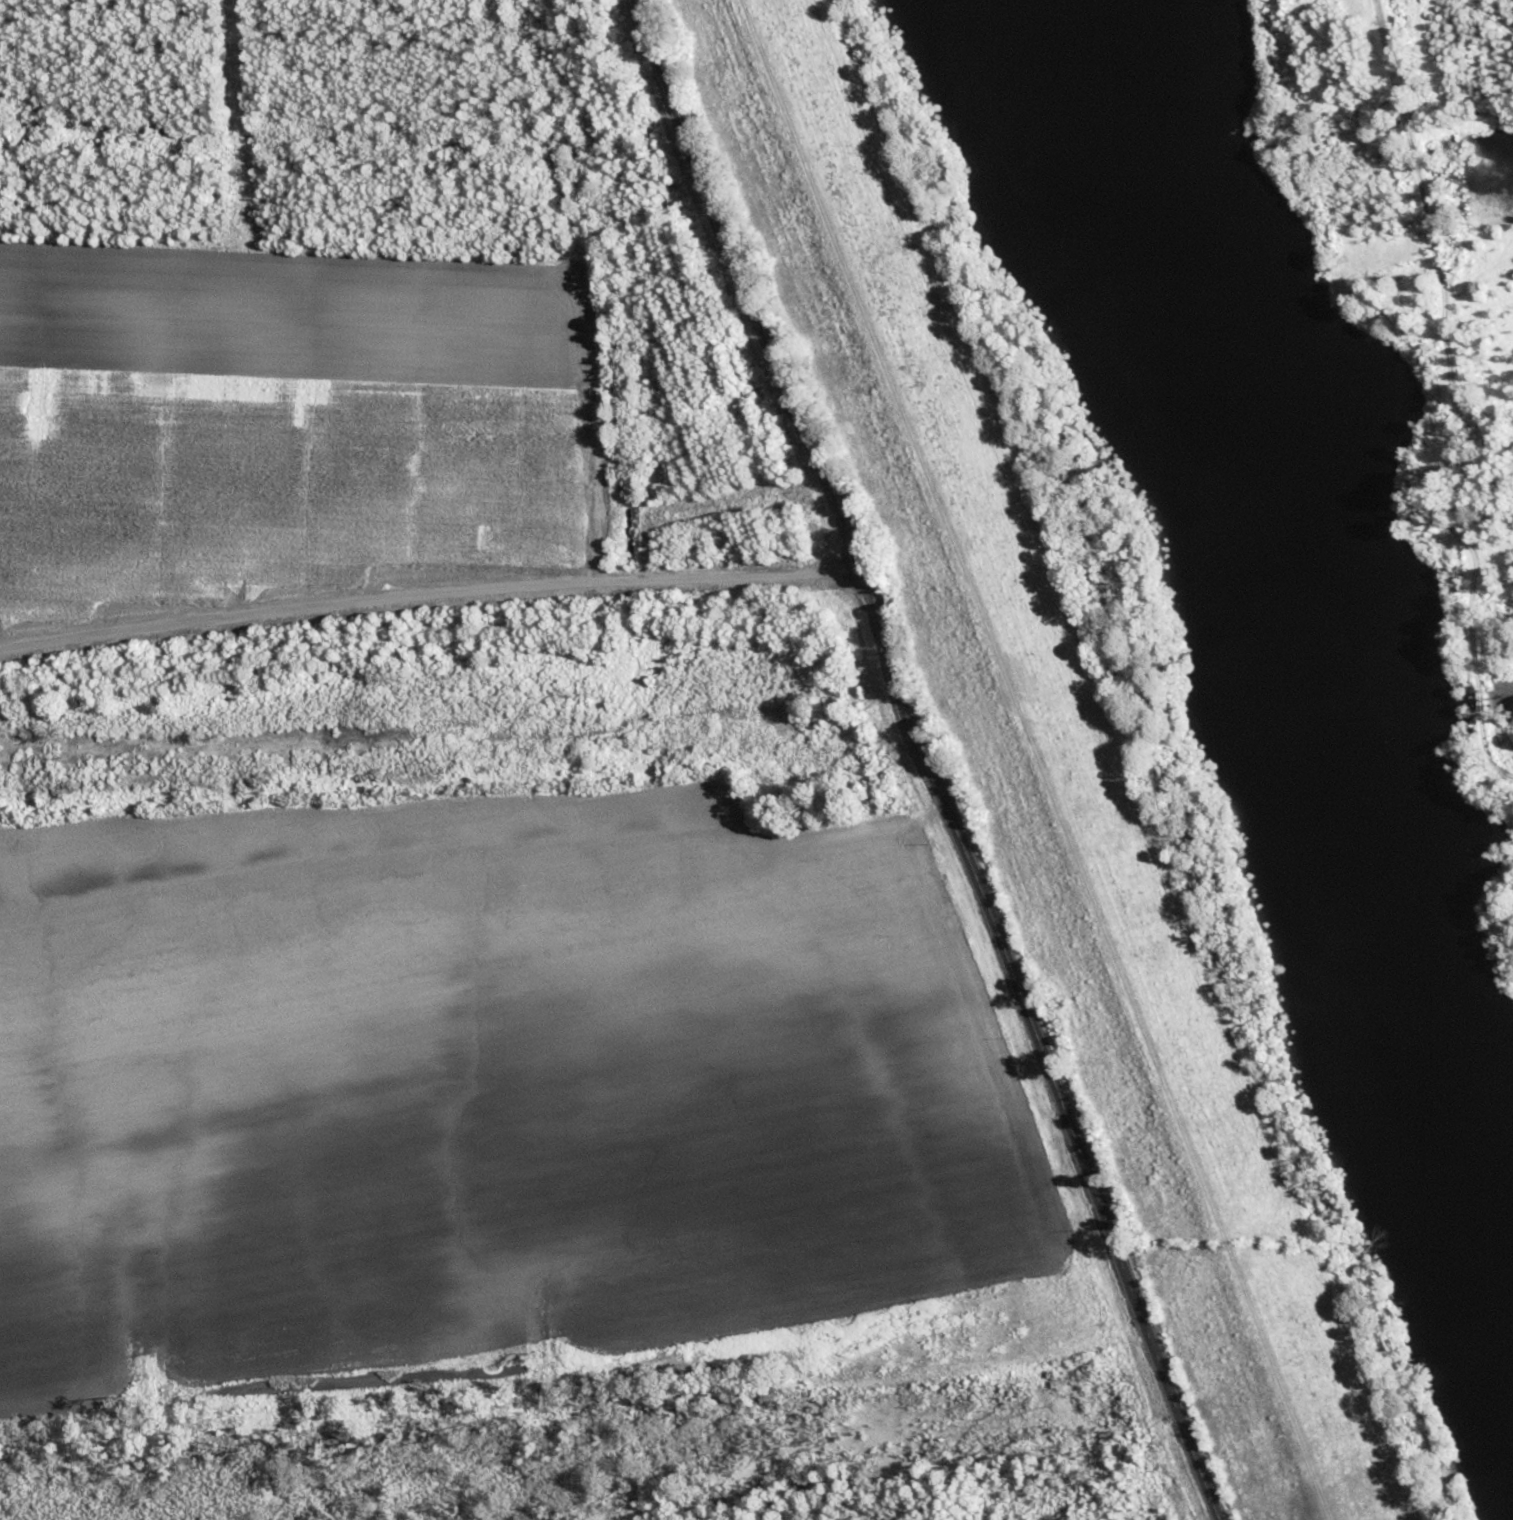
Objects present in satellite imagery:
road: (1451, 395)
road: (425, 595)
road: (928, 757)
road: (1035, 759)

